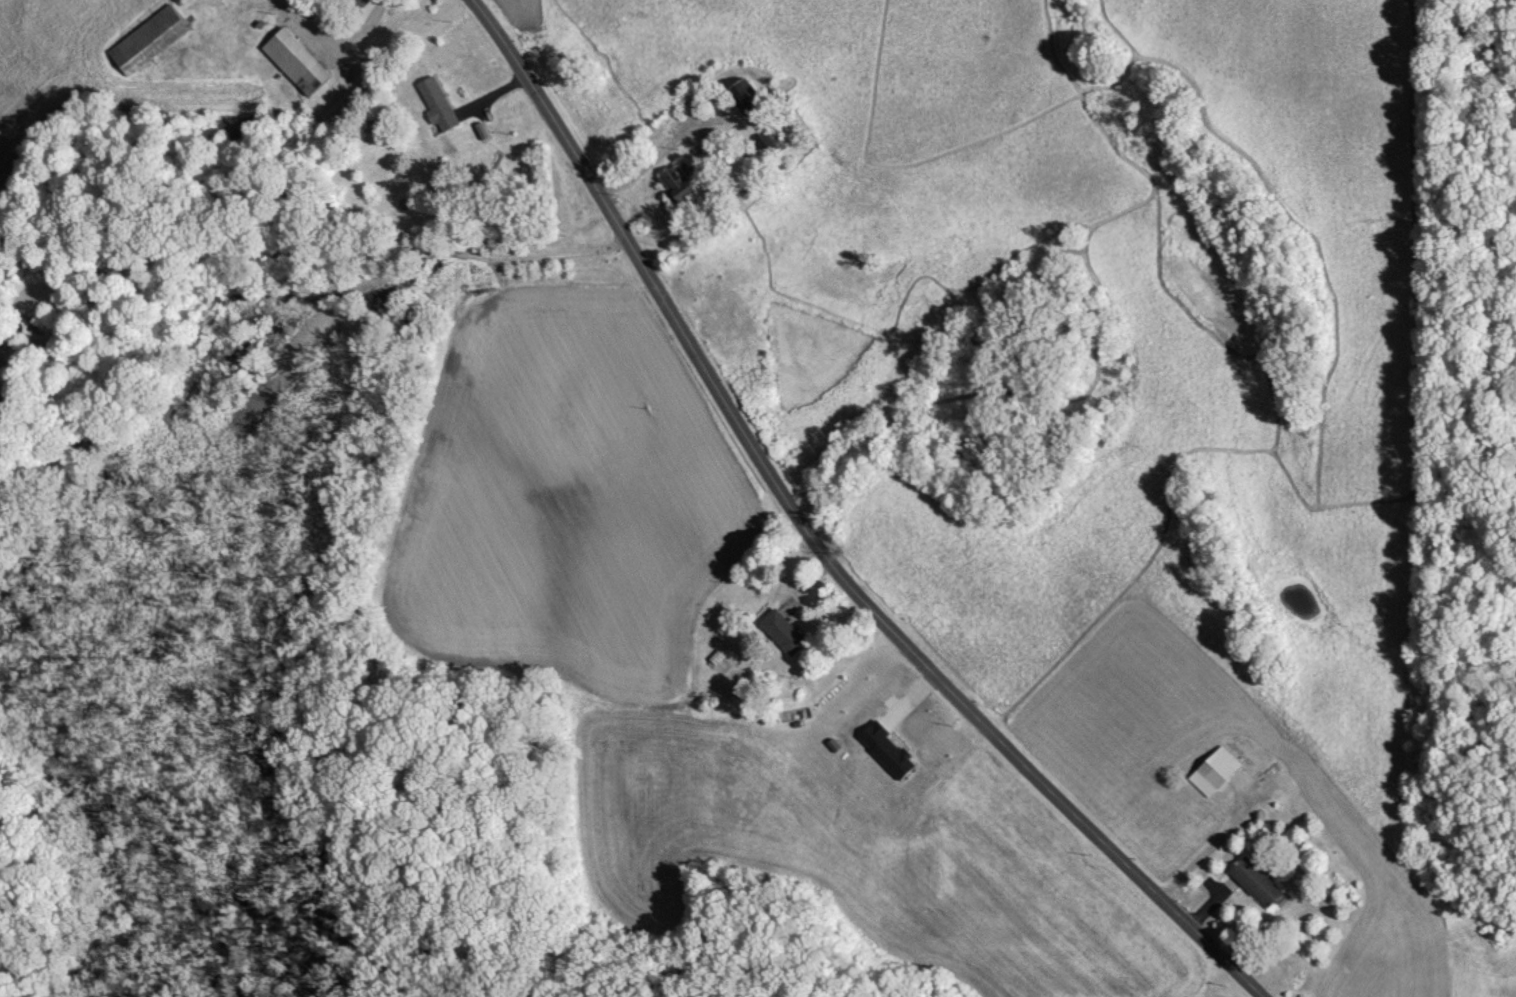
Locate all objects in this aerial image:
building: (357, 3)
road: (1122, 27)
building: (145, 38)
road: (340, 38)
building: (293, 59)
building: (737, 96)
building: (436, 102)
building: (768, 139)
road: (979, 140)
road: (644, 167)
building: (674, 182)
road: (1301, 242)
road: (319, 249)
road: (1041, 269)
road: (1415, 299)
parking lot: (817, 518)
road: (816, 544)
road: (1097, 611)
building: (782, 632)
building: (1214, 768)
building: (1254, 881)

